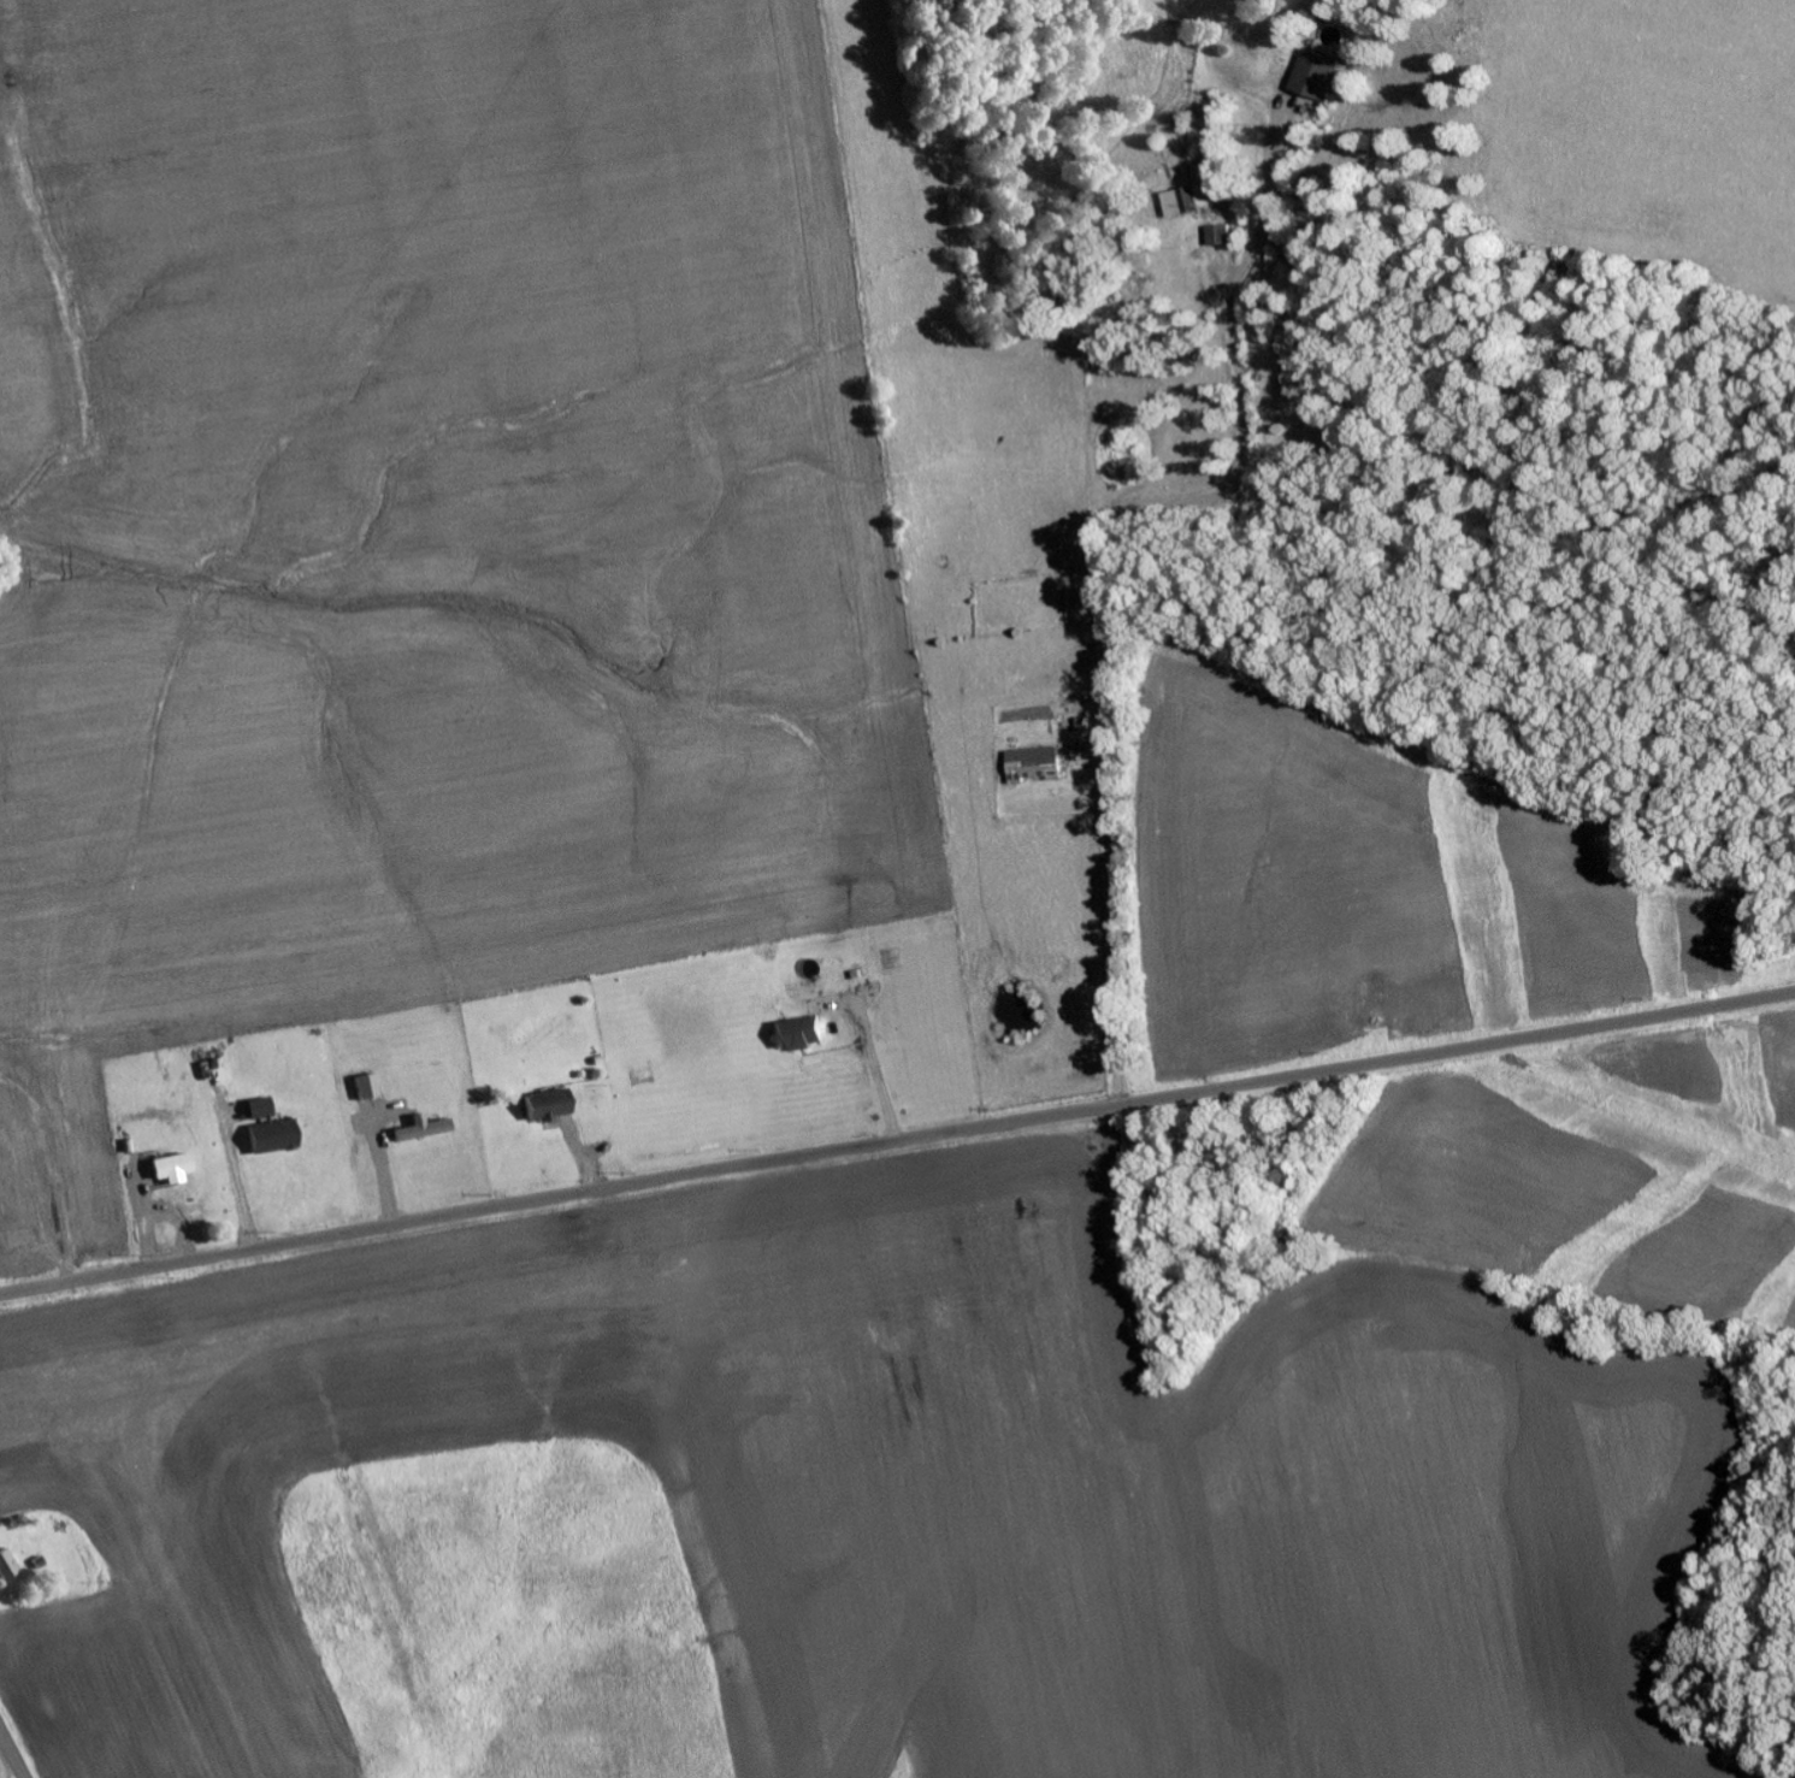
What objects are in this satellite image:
building: (1310, 75)
building: (1182, 201)
building: (1212, 234)
building: (1029, 763)
building: (793, 1034)
building: (371, 1088)
building: (541, 1106)
building: (274, 1130)
building: (425, 1130)
road: (896, 1138)
building: (178, 1169)
building: (10, 1567)
road: (13, 1752)

